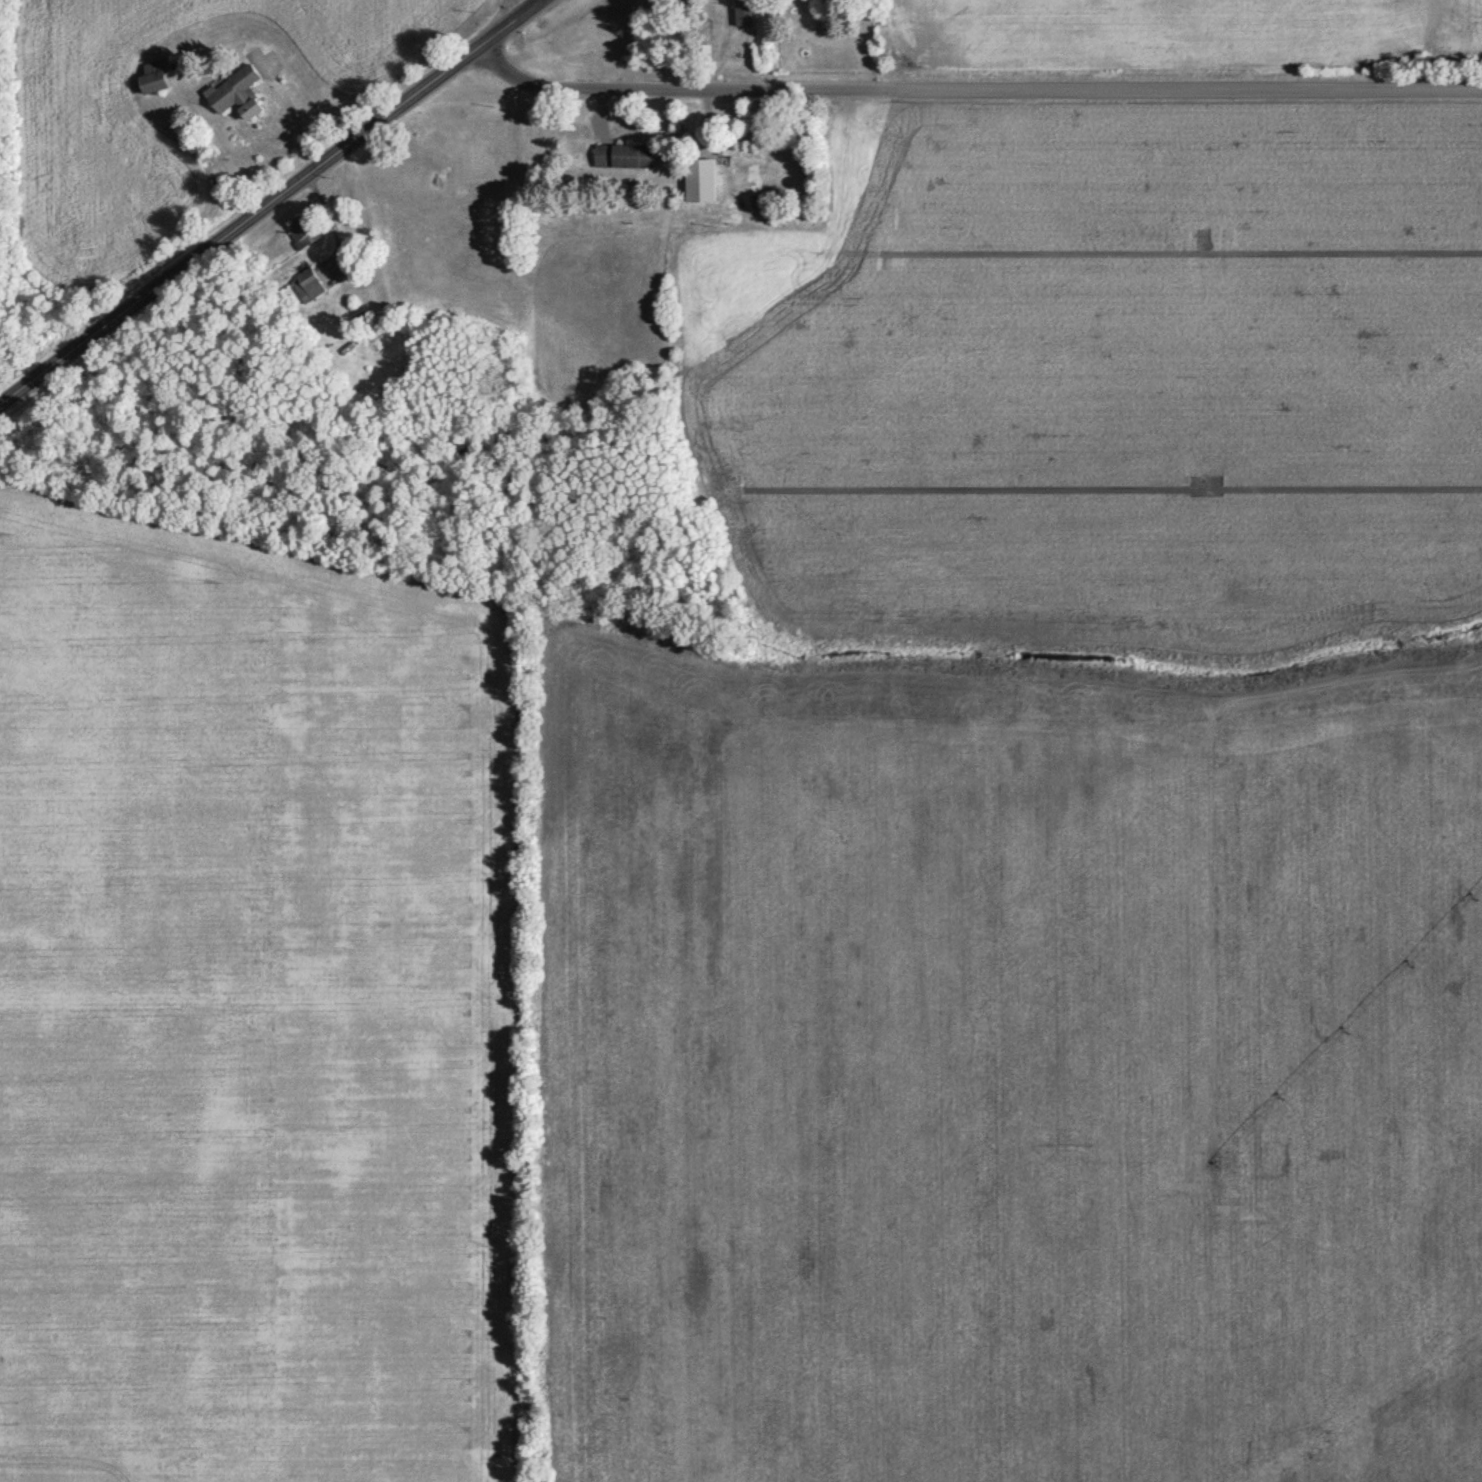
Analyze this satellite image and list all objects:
road: (510, 10)
road: (525, 10)
building: (744, 16)
road: (519, 56)
building: (155, 80)
road: (945, 92)
building: (237, 97)
building: (740, 155)
building: (623, 160)
road: (254, 210)
building: (303, 234)
building: (307, 289)
road: (840, 336)
building: (400, 349)
road: (862, 586)

